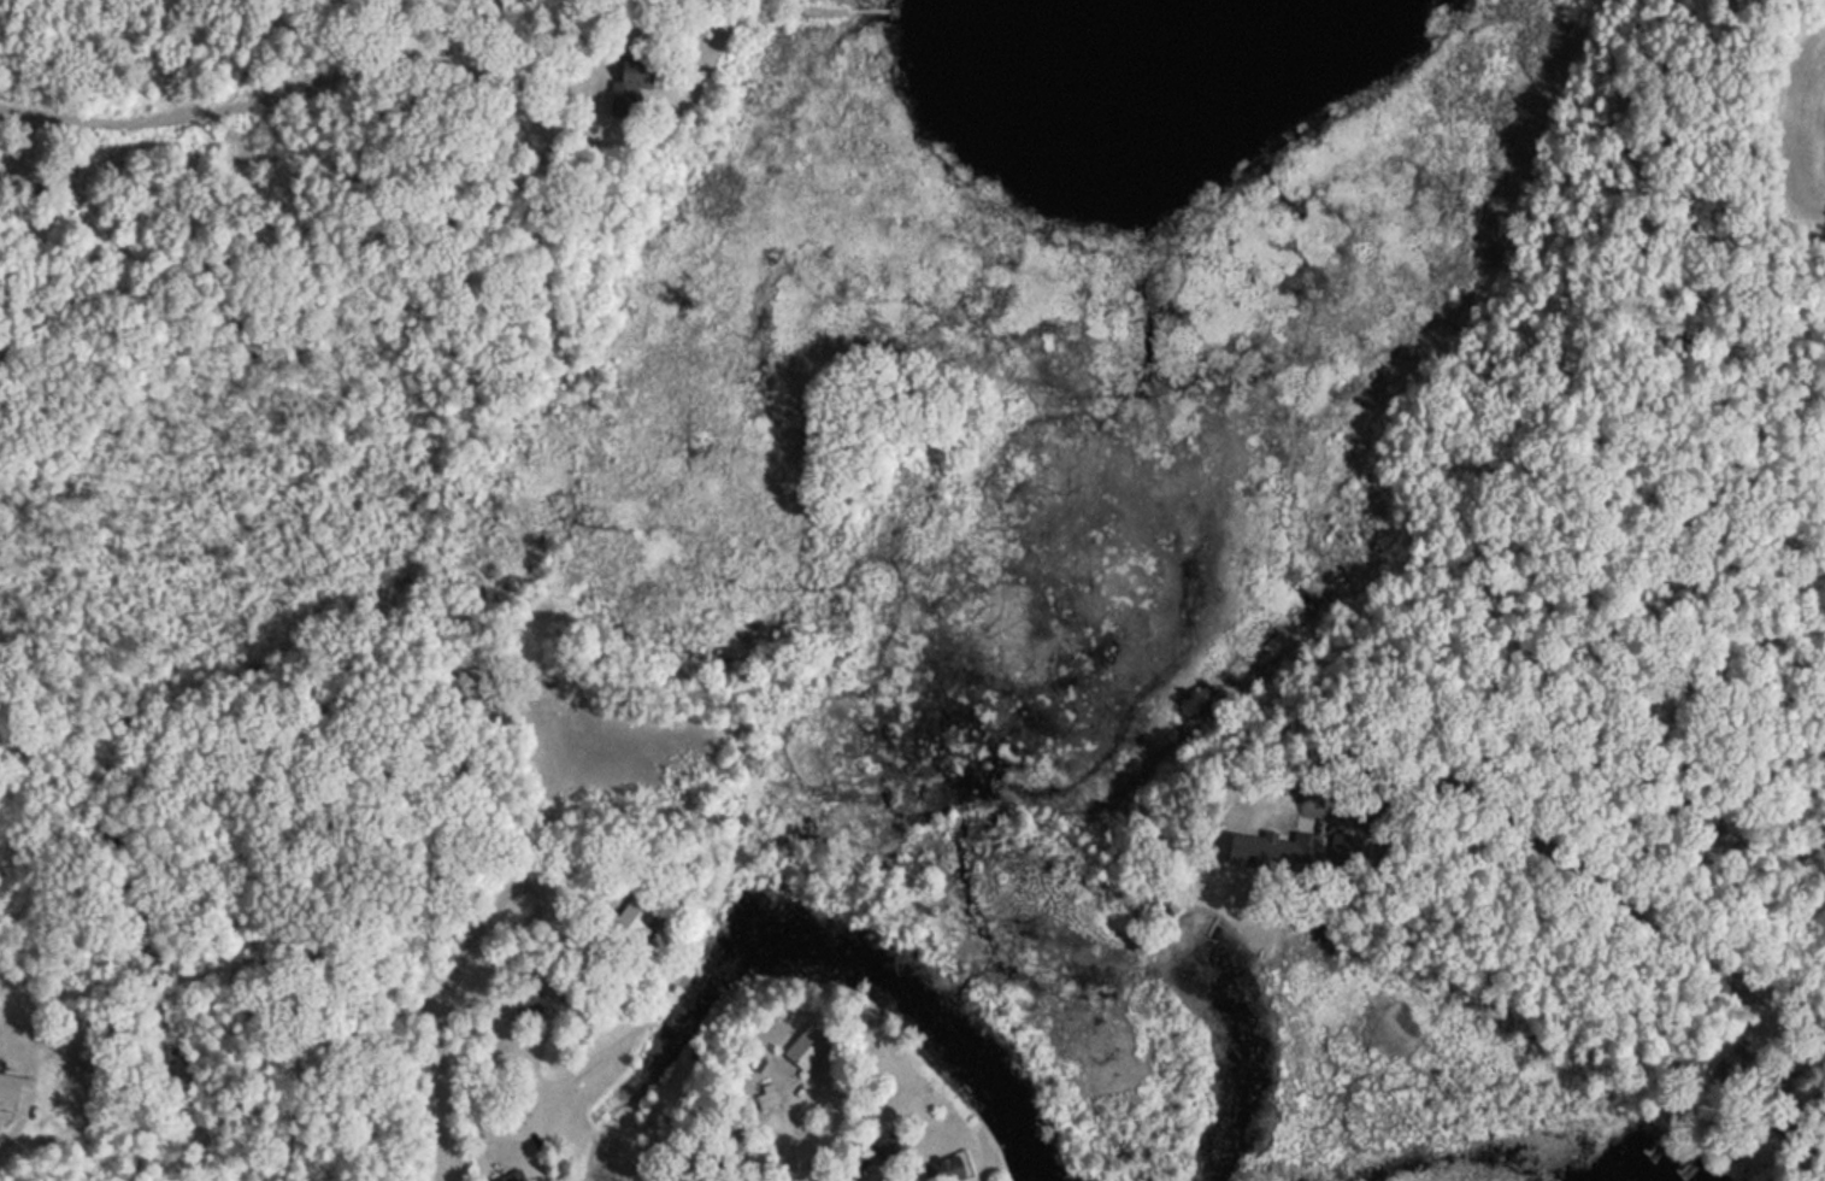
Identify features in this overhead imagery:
building: (630, 83)
building: (1276, 850)
road: (1548, 859)
building: (632, 918)
building: (526, 998)
road: (443, 1011)
building: (805, 1046)
building: (1729, 1065)
building: (8, 1087)
building: (764, 1097)
building: (948, 1167)
building: (511, 1176)

